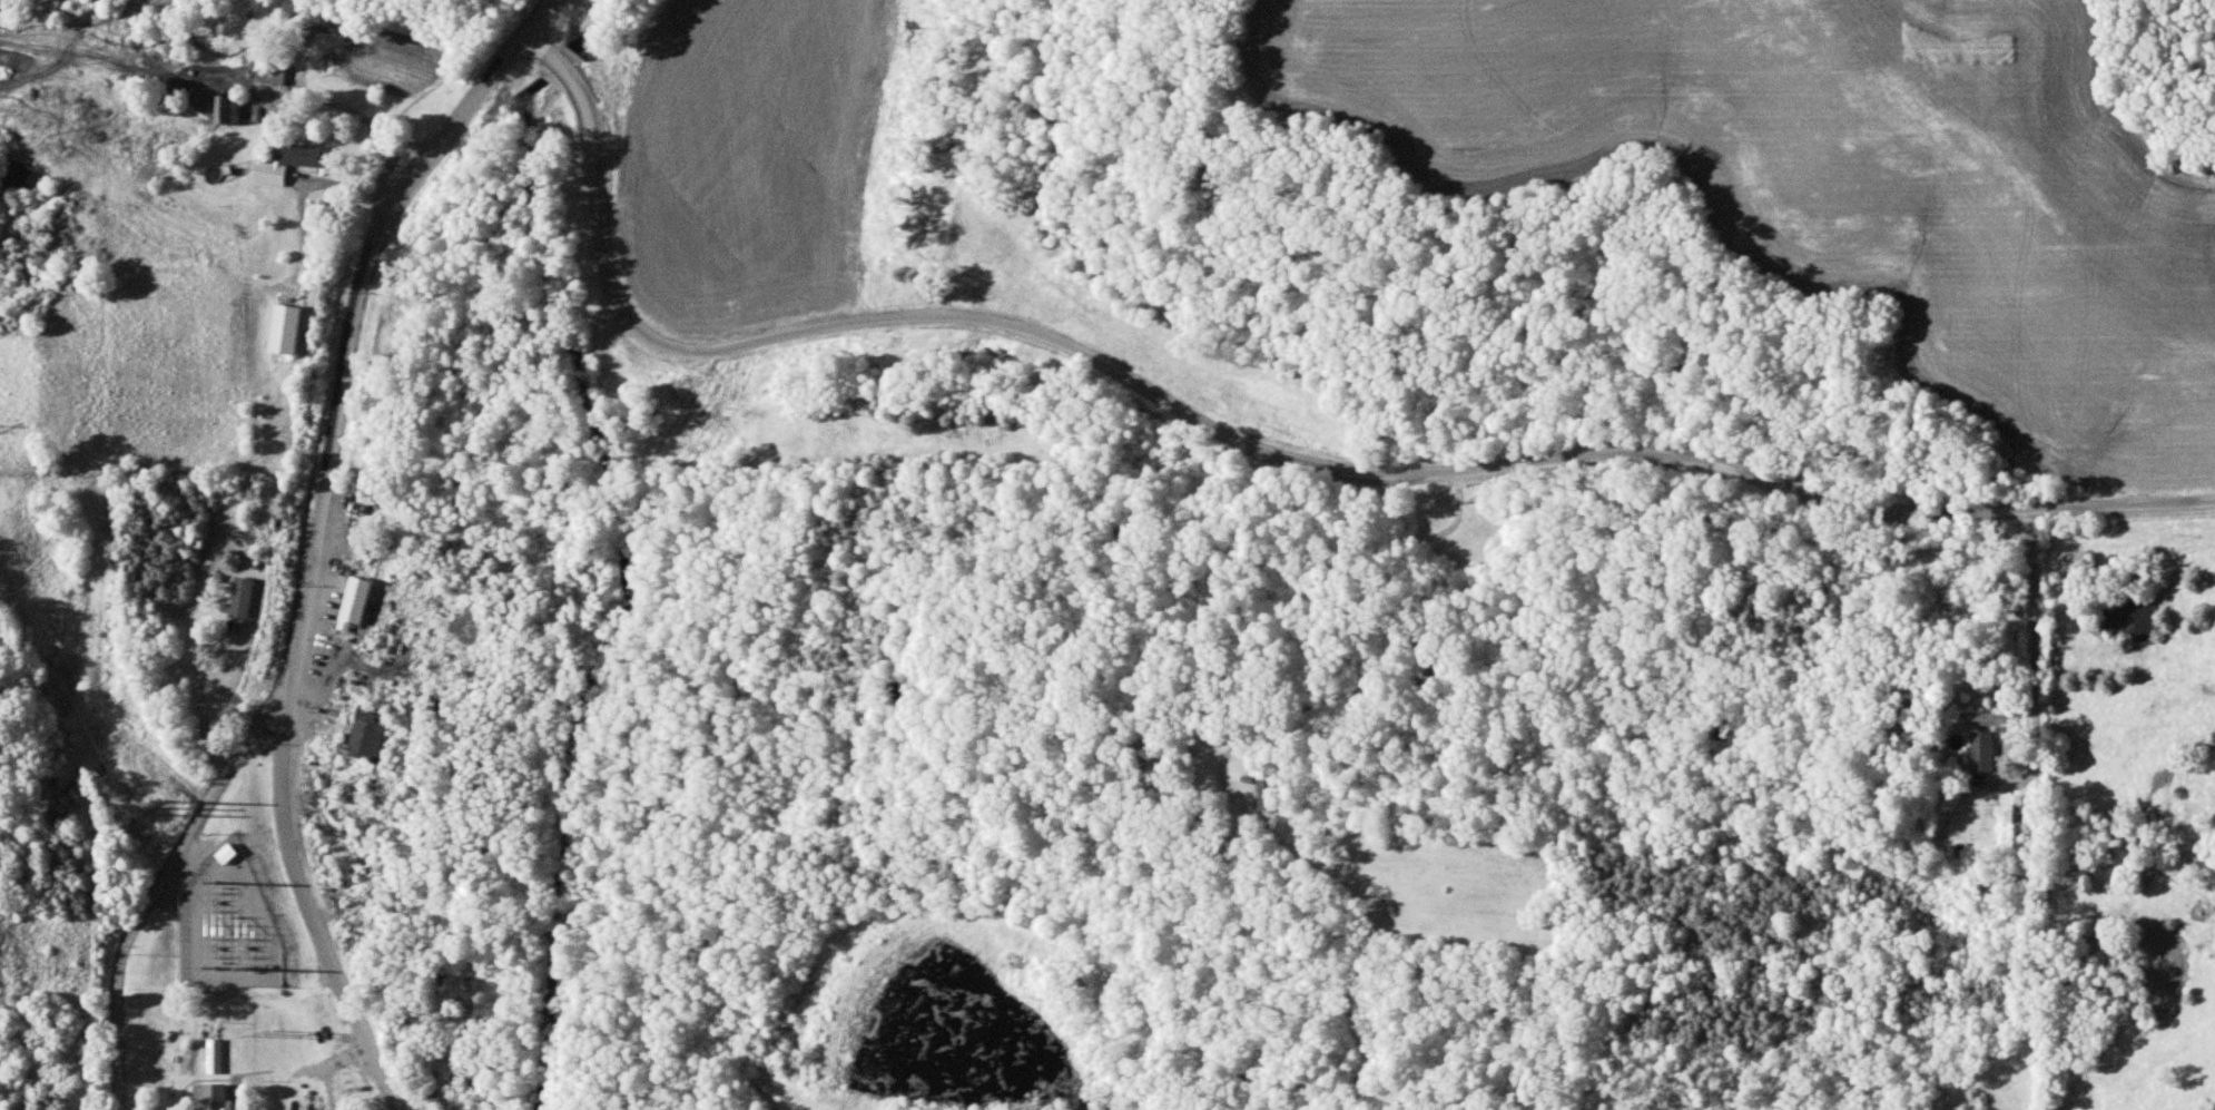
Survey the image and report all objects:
road: (579, 63)
road: (351, 311)
road: (1305, 463)
road: (2035, 692)
building: (1270, 796)
road: (161, 881)
road: (308, 902)
power substation: (229, 927)
power tower: (198, 950)
power tower: (147, 962)
power tower: (257, 1033)

